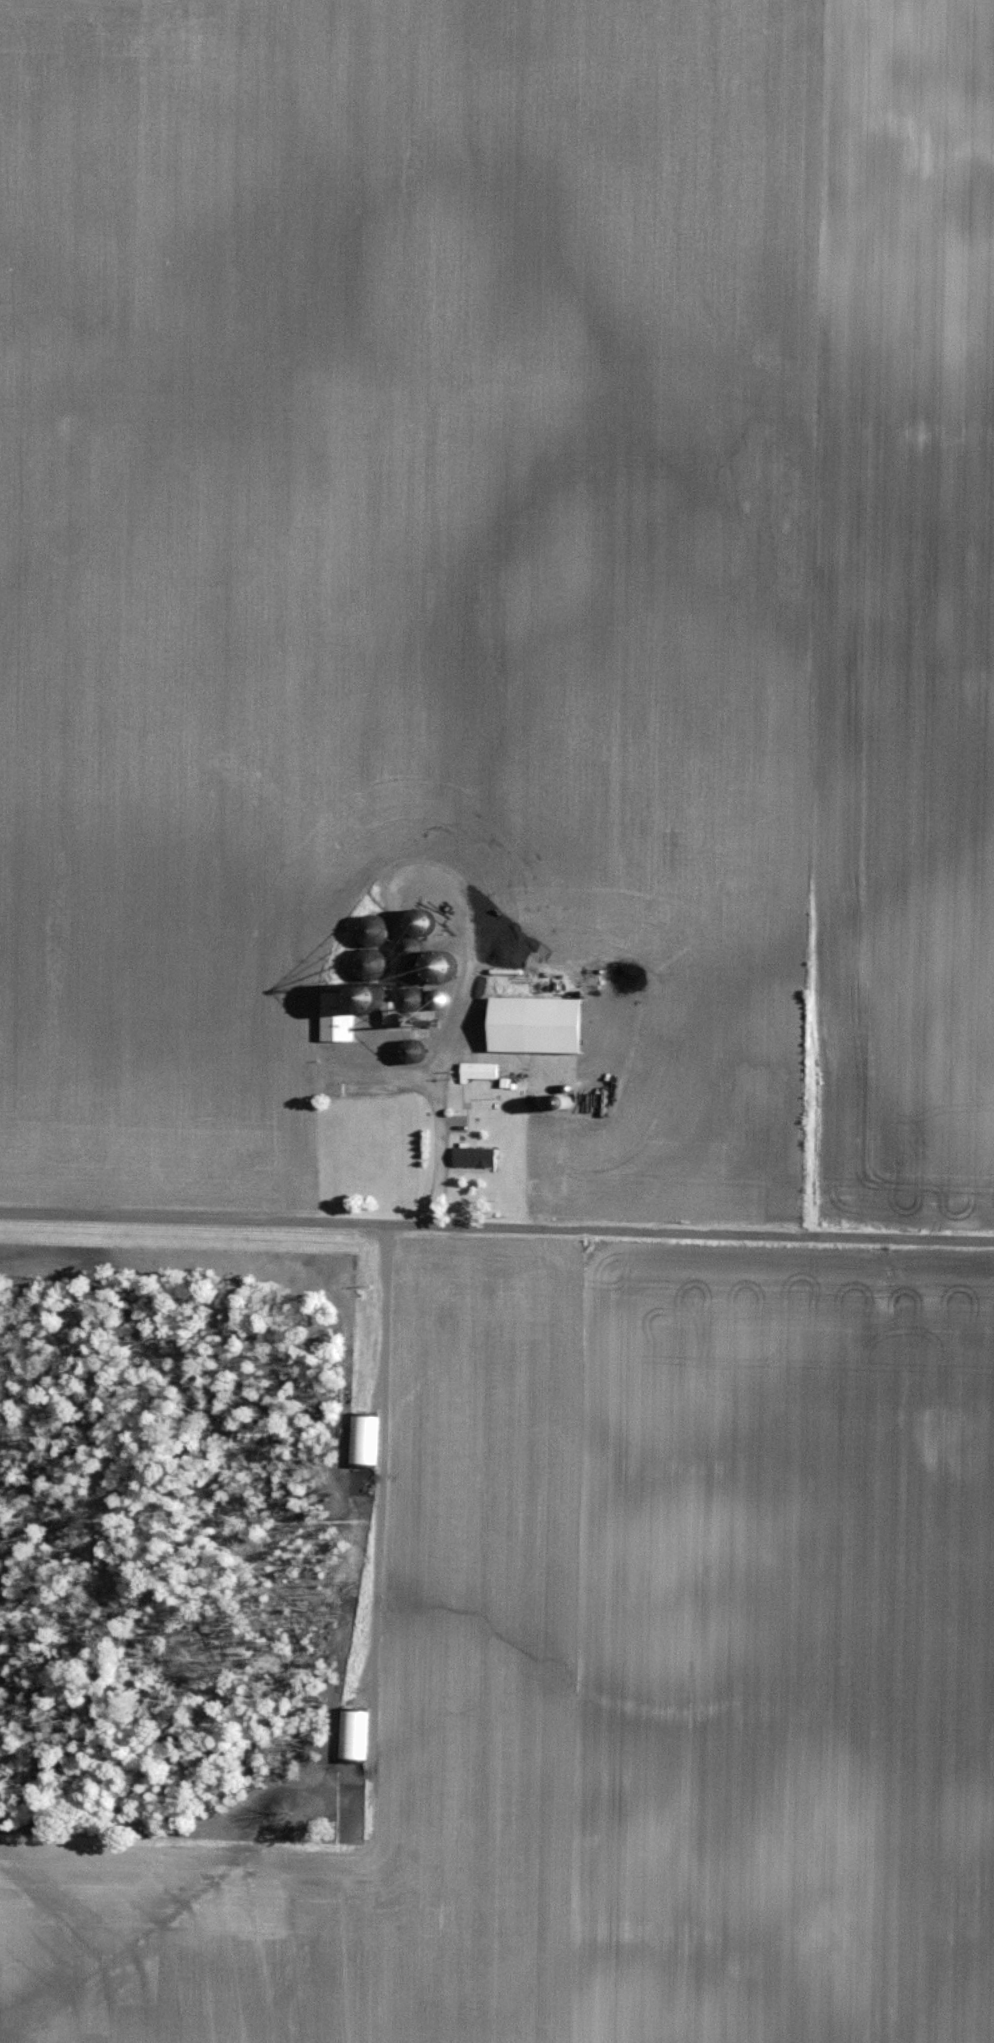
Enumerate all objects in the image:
road: (437, 1099)
road: (497, 1224)
road: (380, 1461)

